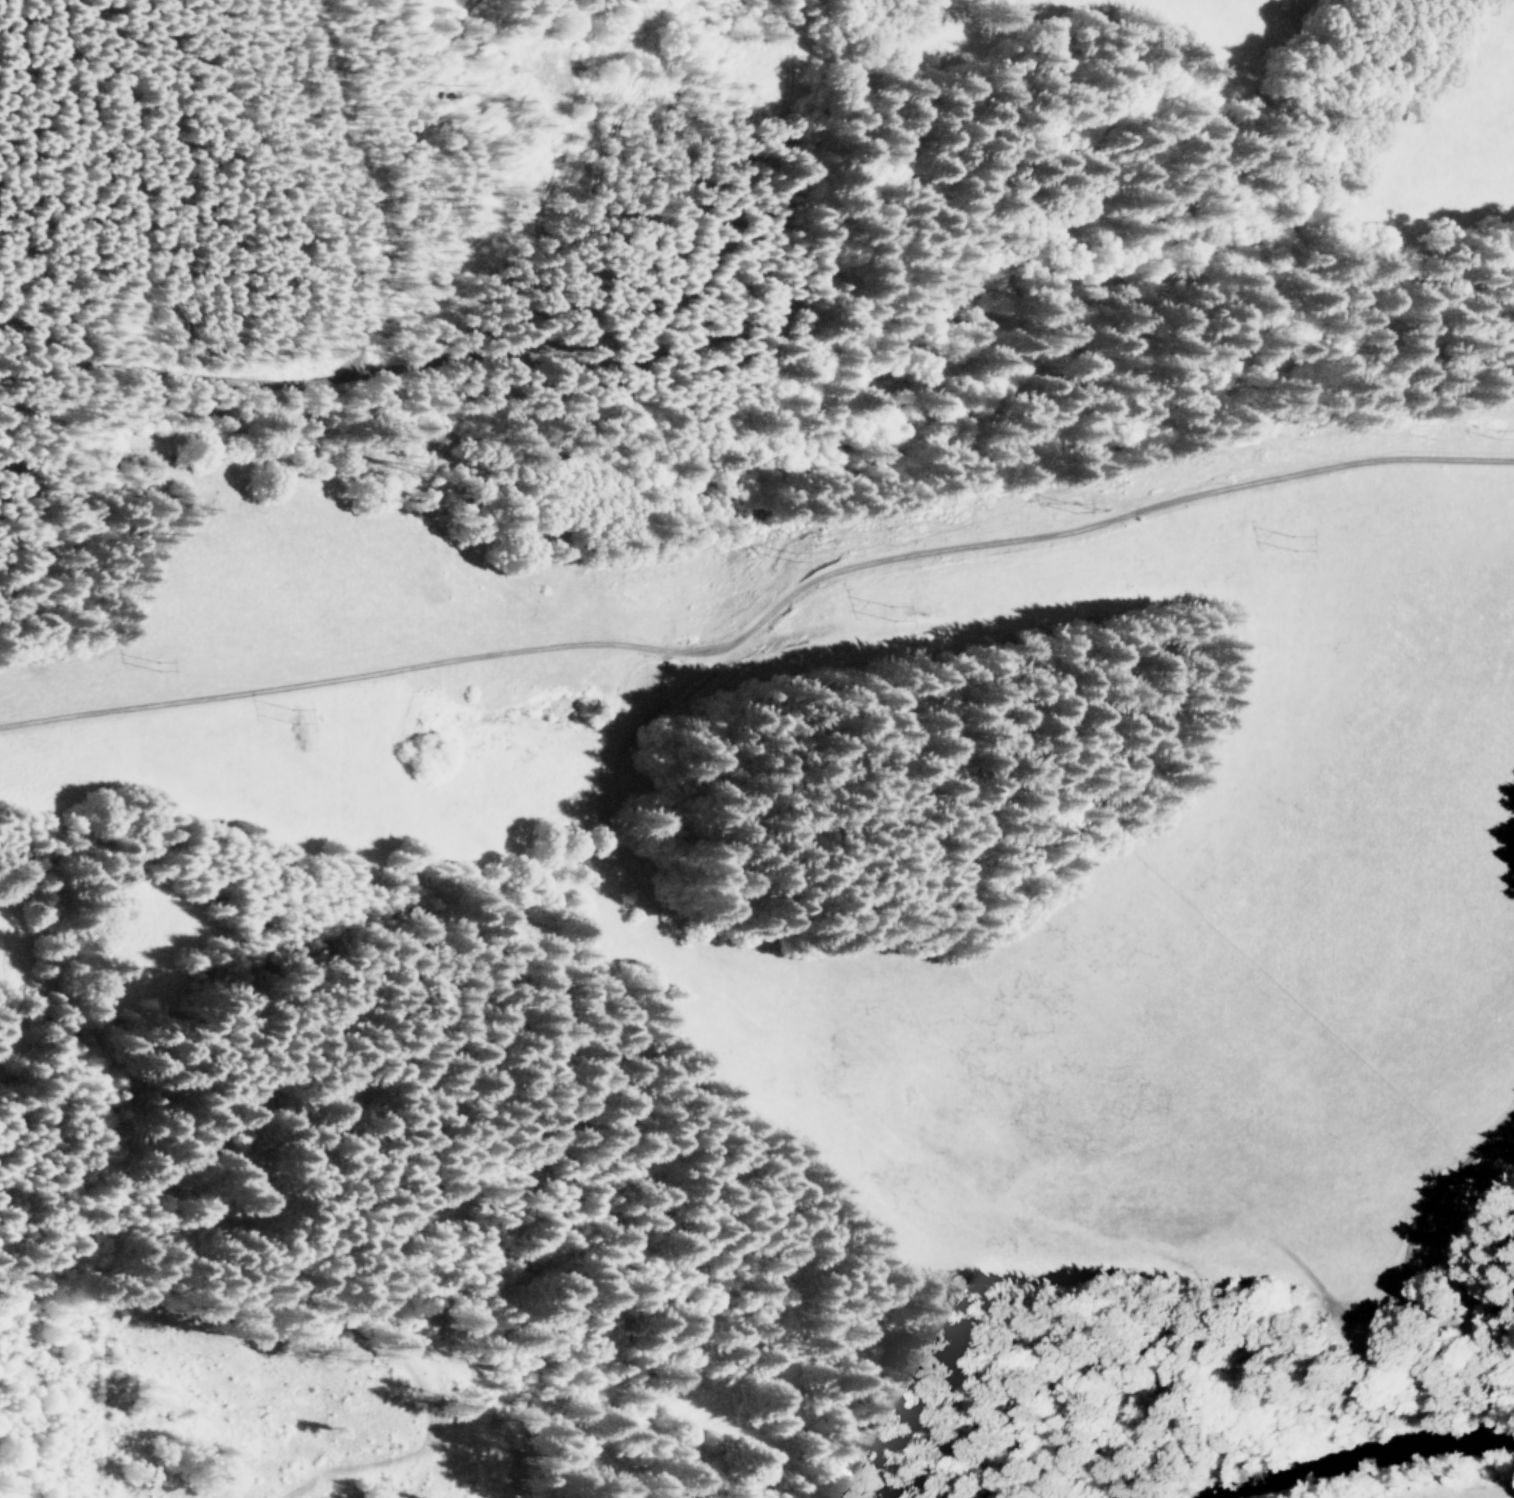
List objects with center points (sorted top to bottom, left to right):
power tower: (1309, 544)
power tower: (912, 610)
power tower: (311, 715)
river: (1409, 1485)

